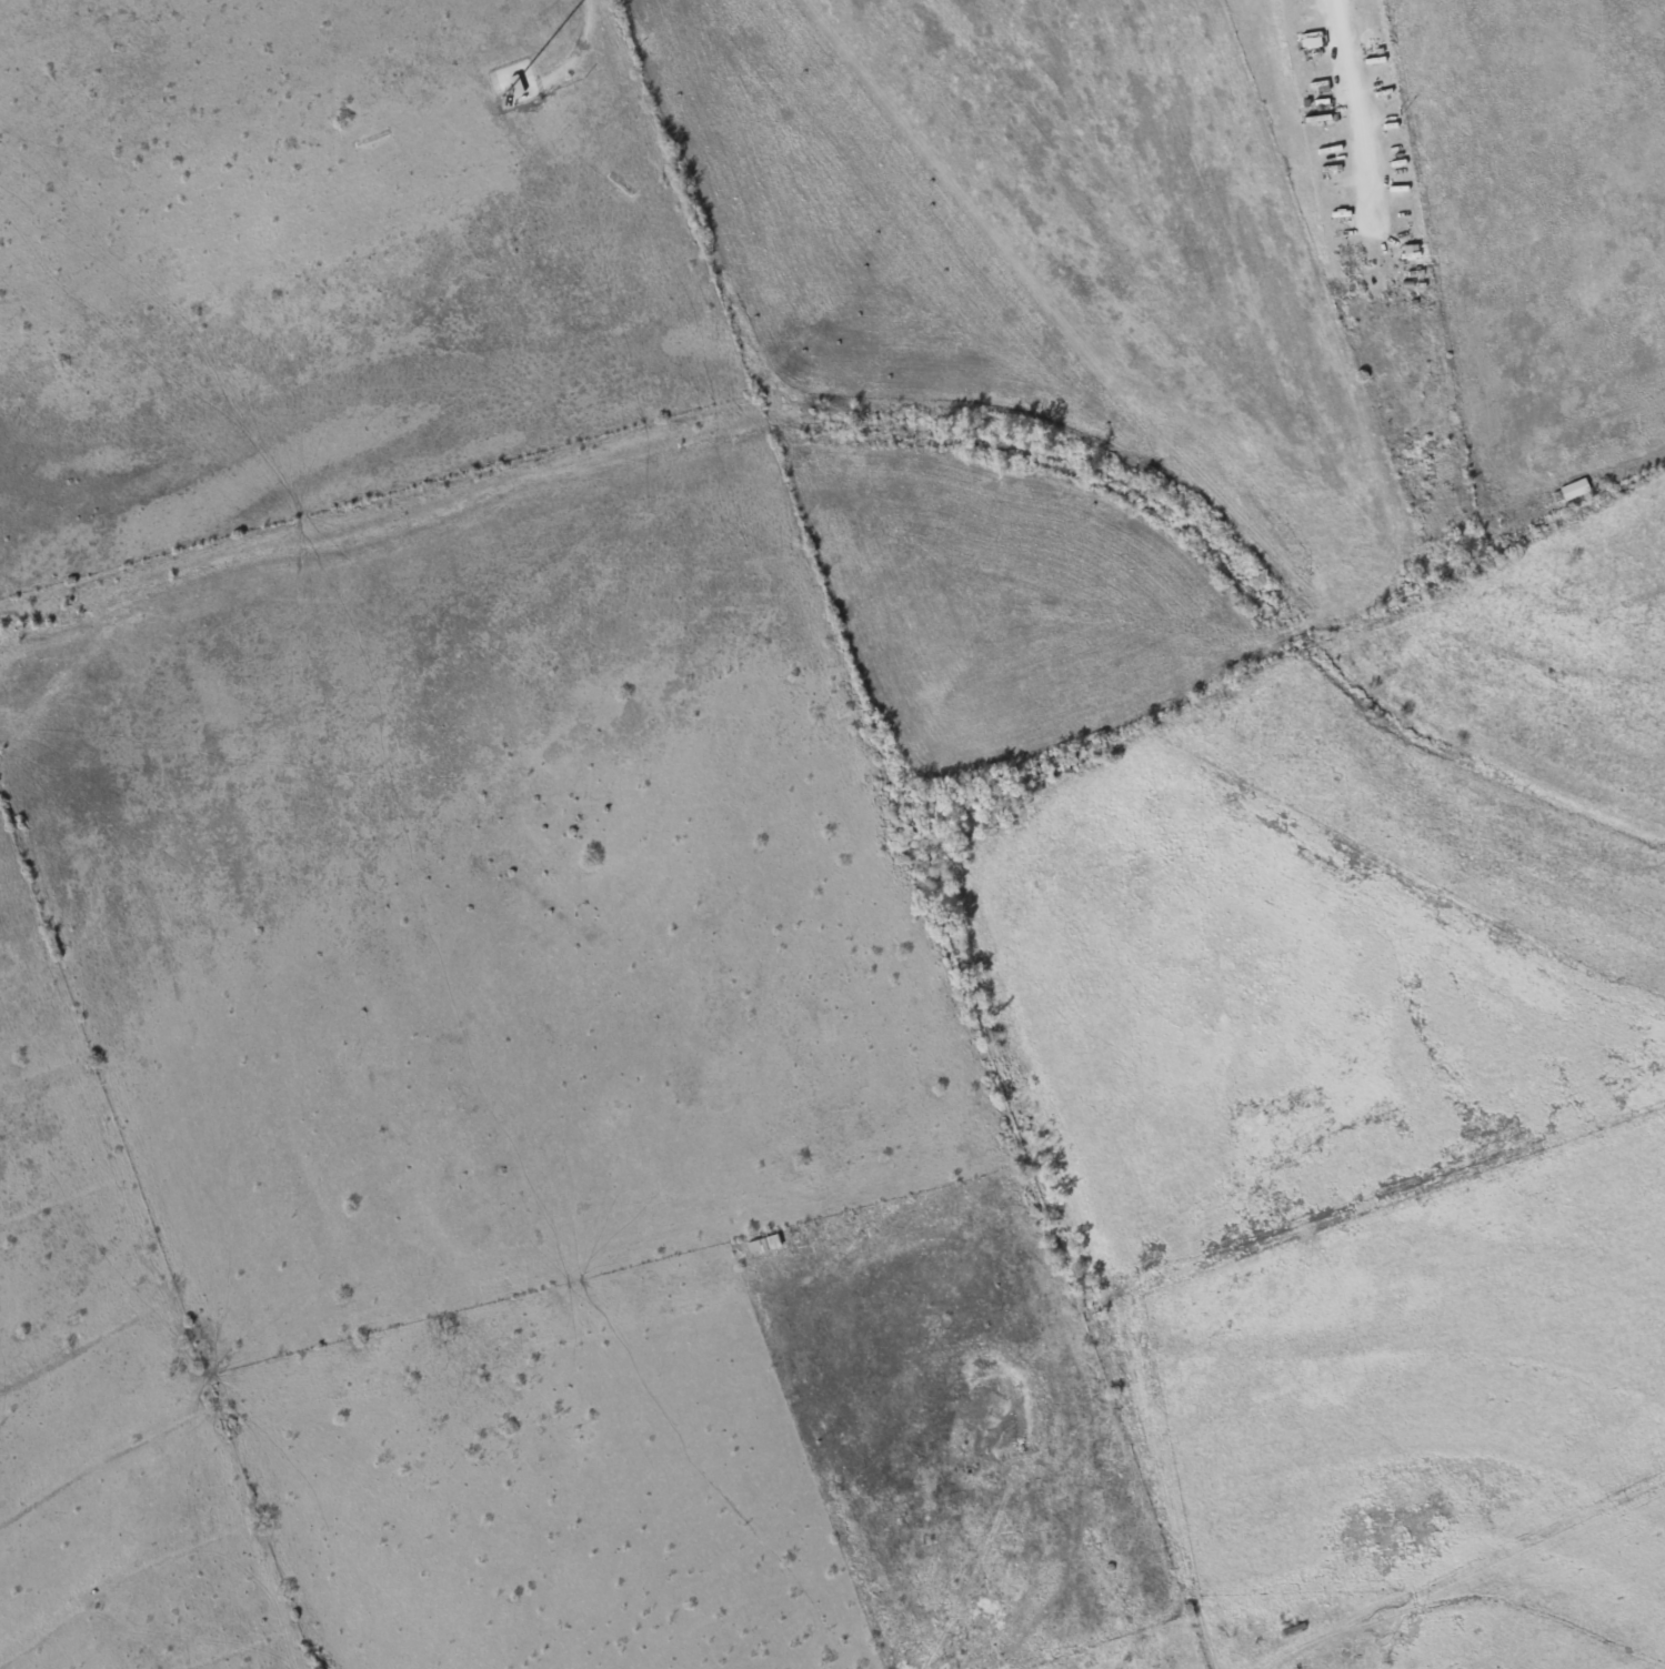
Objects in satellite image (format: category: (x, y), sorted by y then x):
road: (1348, 84)
building: (1406, 252)
building: (1571, 490)
road: (1297, 1648)

